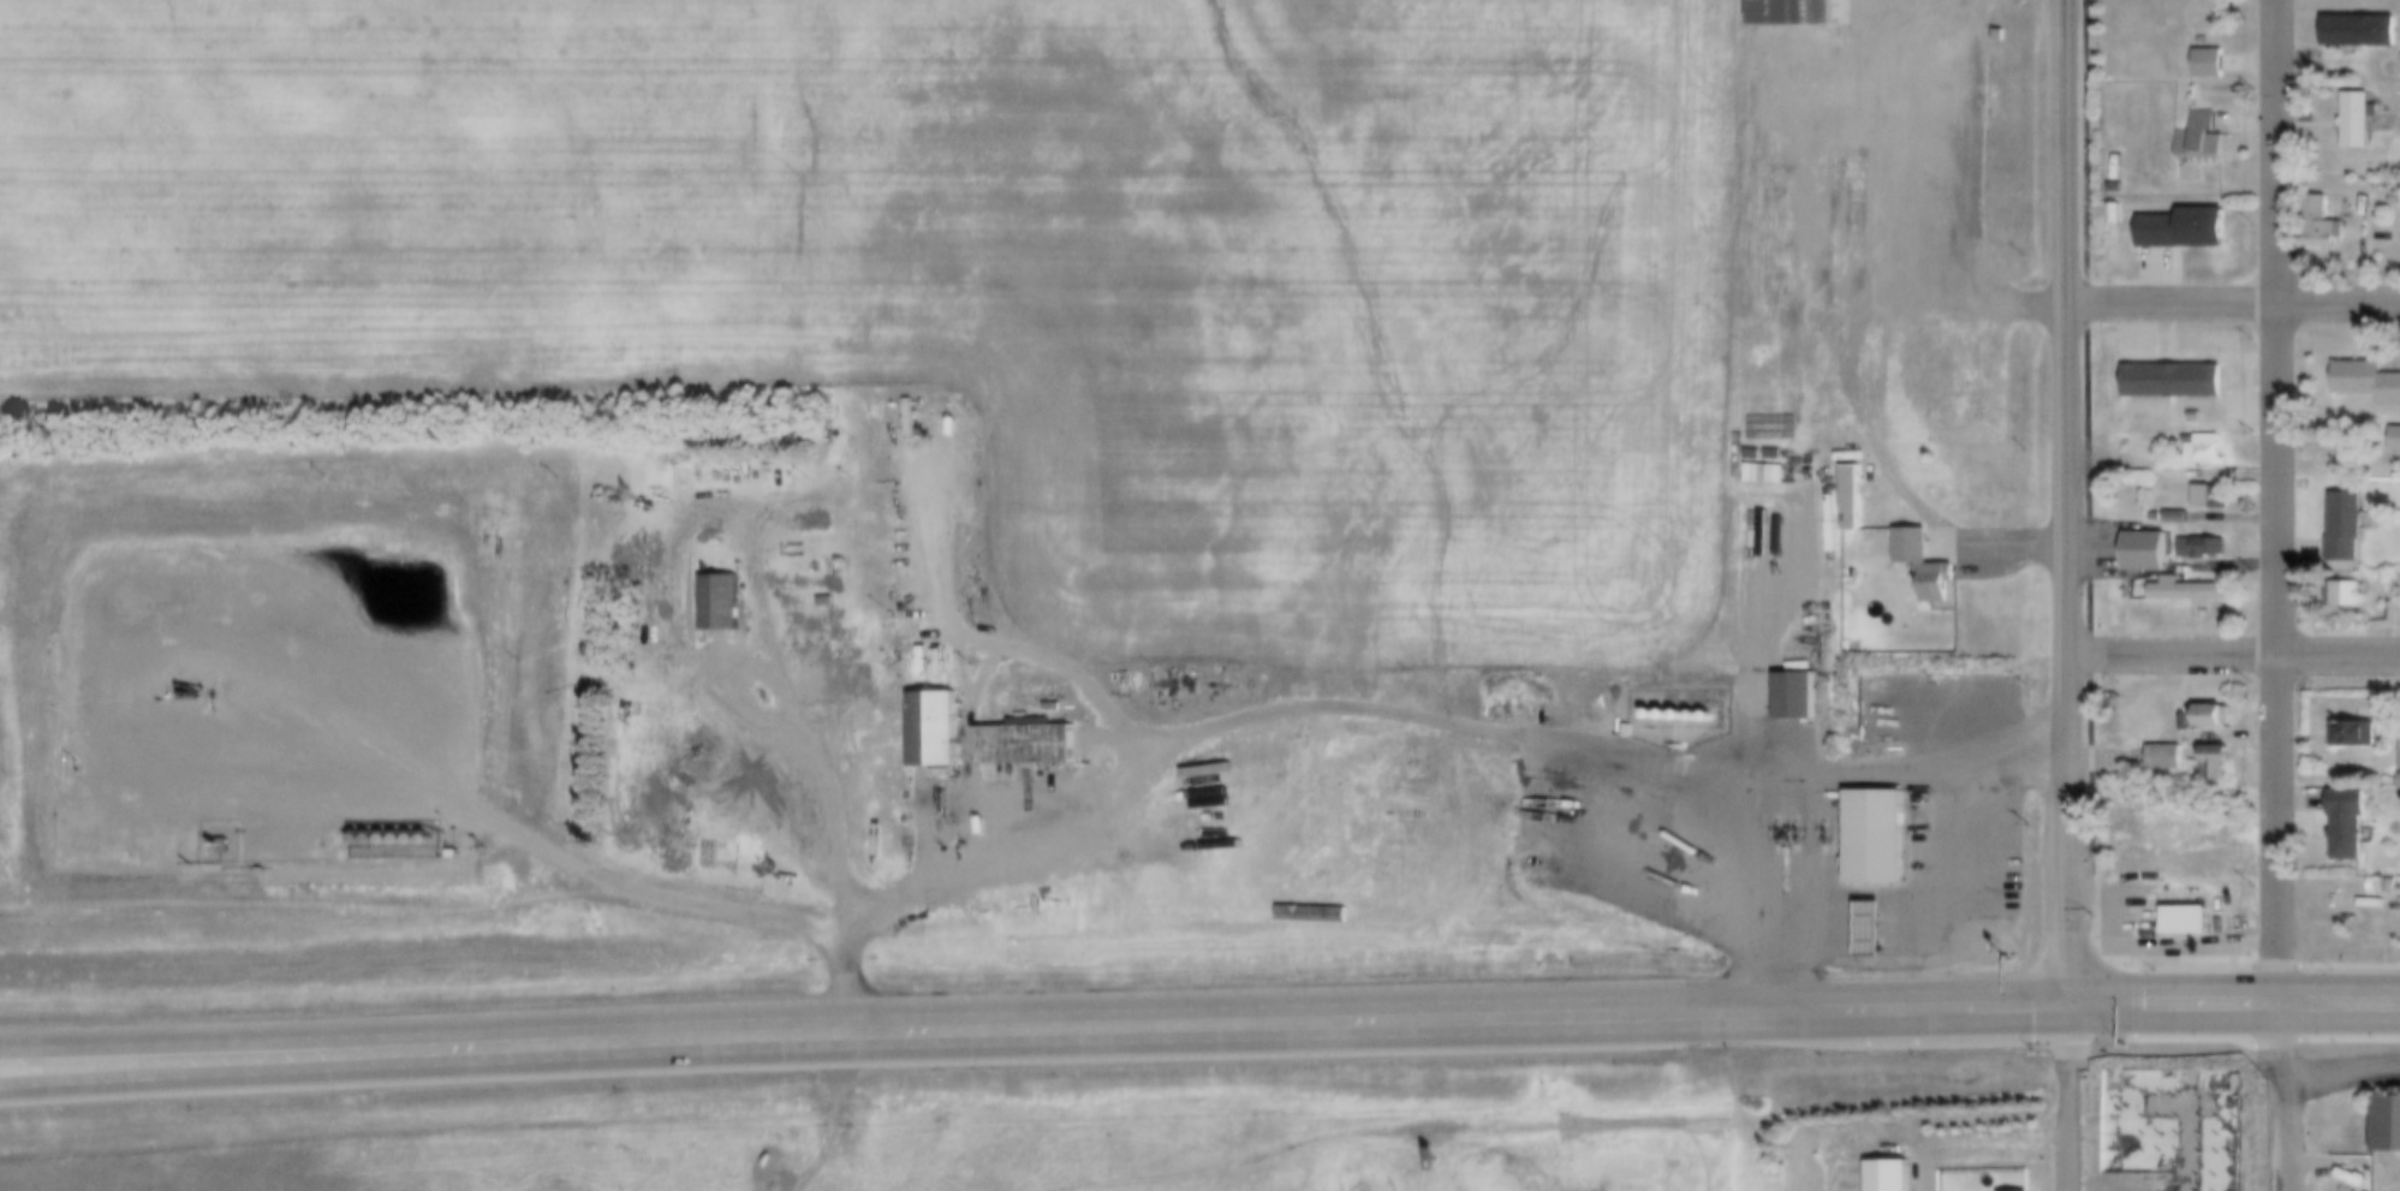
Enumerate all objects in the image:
building: (1802, 13)
building: (2363, 28)
building: (2211, 61)
building: (1829, 65)
building: (2360, 123)
building: (1779, 137)
building: (2205, 138)
building: (1755, 139)
building: (1770, 177)
building: (1774, 202)
road: (1878, 204)
building: (2119, 214)
building: (1775, 220)
building: (2322, 224)
building: (2187, 231)
building: (1776, 249)
building: (1771, 297)
road: (2233, 308)
building: (1771, 315)
building: (2176, 382)
building: (2369, 382)
building: (2199, 416)
building: (2396, 435)
building: (2207, 451)
building: (1768, 474)
building: (2207, 498)
road: (1916, 499)
building: (1856, 501)
road: (2275, 504)
road: (2067, 506)
building: (2180, 518)
building: (2347, 526)
road: (2023, 542)
building: (2204, 547)
building: (2130, 552)
building: (2149, 552)
building: (1928, 567)
building: (2190, 592)
building: (2347, 595)
building: (716, 609)
building: (424, 648)
road: (2234, 654)
building: (817, 677)
building: (1799, 698)
storage tank: (1656, 714)
storage tank: (1669, 714)
storage tank: (1684, 714)
storage tank: (1698, 714)
storage tank: (1711, 714)
building: (2215, 717)
building: (1631, 731)
building: (927, 733)
building: (2357, 734)
building: (1025, 745)
building: (2399, 745)
building: (2169, 758)
building: (2221, 763)
road: (1802, 770)
building: (2351, 823)
road: (839, 834)
building: (1878, 839)
road: (910, 889)
building: (2375, 904)
road: (1931, 916)
building: (1876, 924)
building: (2190, 924)
road: (2235, 1010)
road: (1257, 1019)
road: (2265, 1038)
road: (220, 1043)
road: (221, 1067)
building: (2179, 1085)
road: (2229, 1091)
road: (2077, 1101)
building: (2388, 1127)
building: (2173, 1130)
road: (1925, 1169)
building: (1892, 1178)

